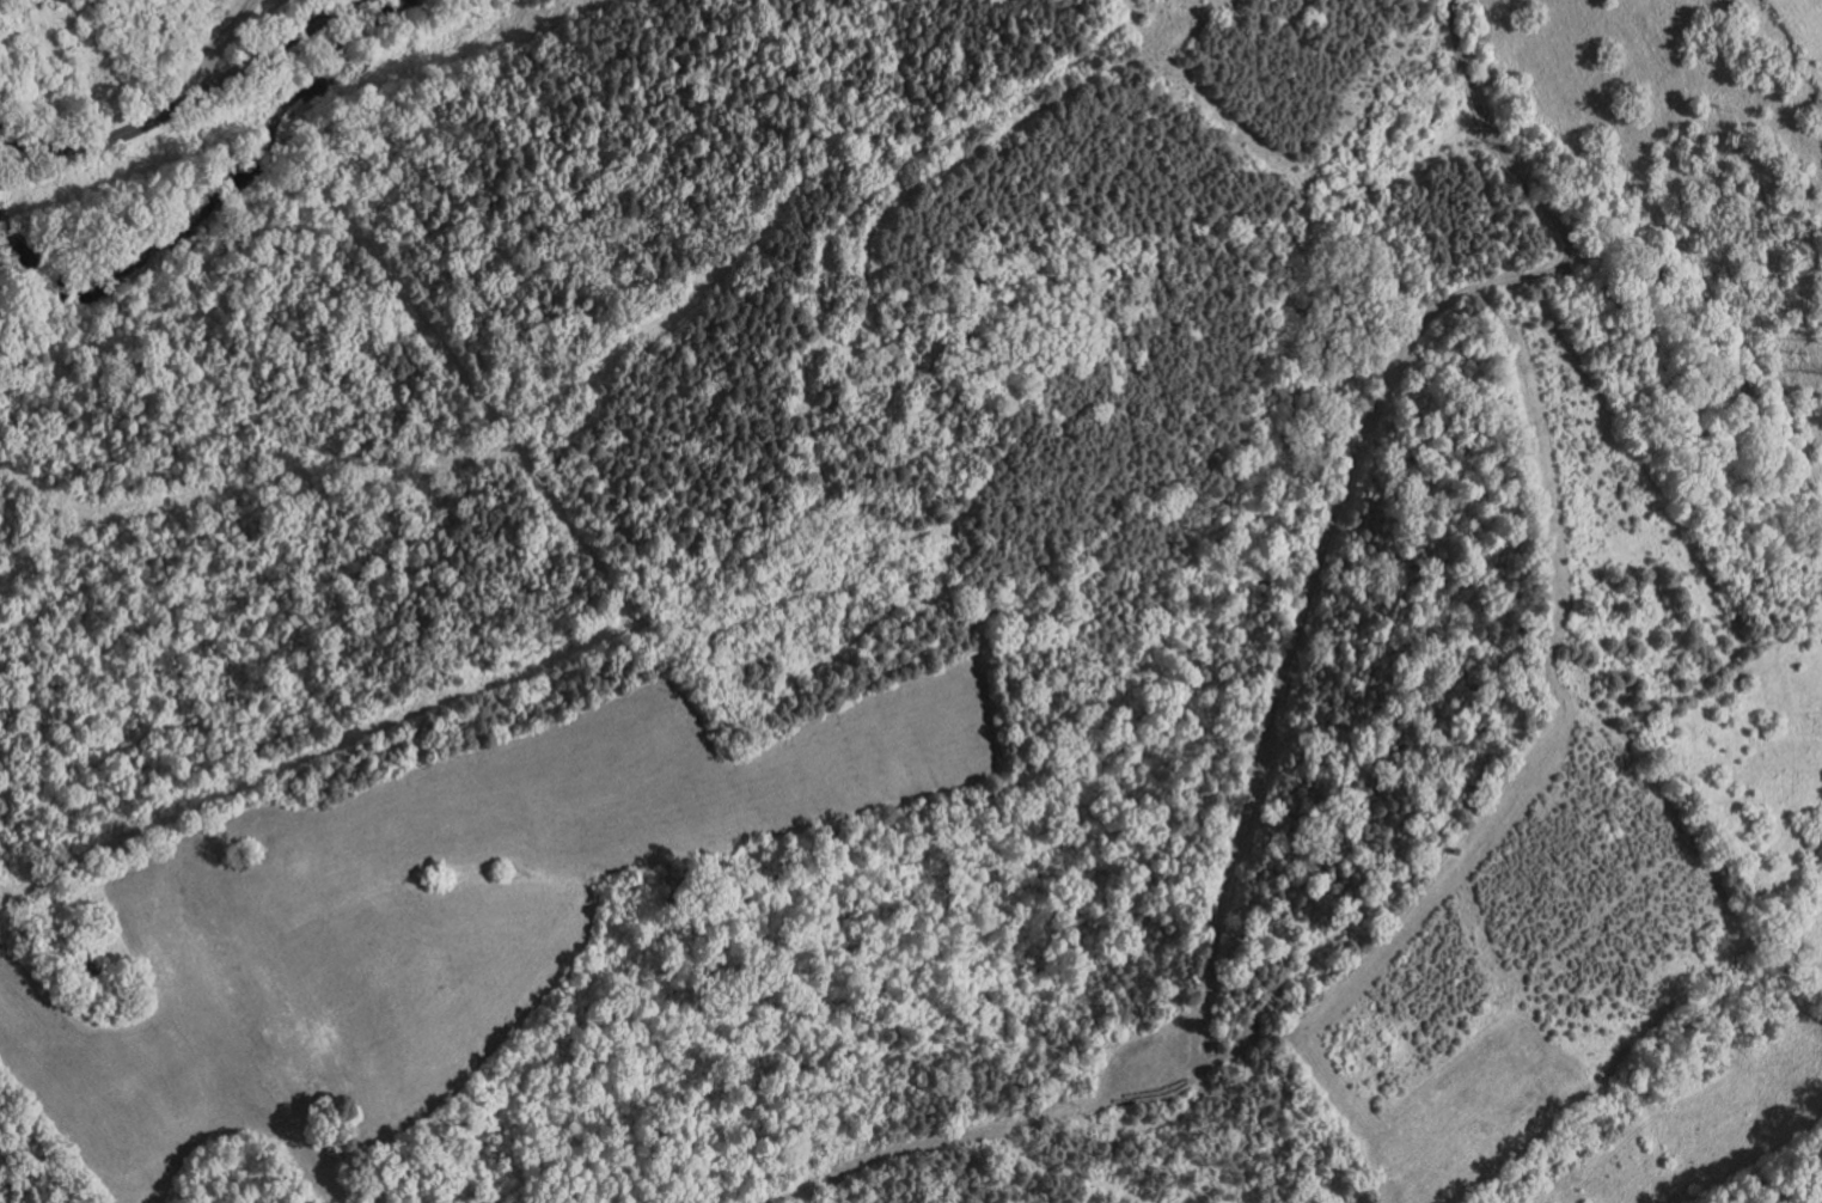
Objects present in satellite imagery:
road: (225, 38)
road: (183, 100)
road: (1280, 688)

